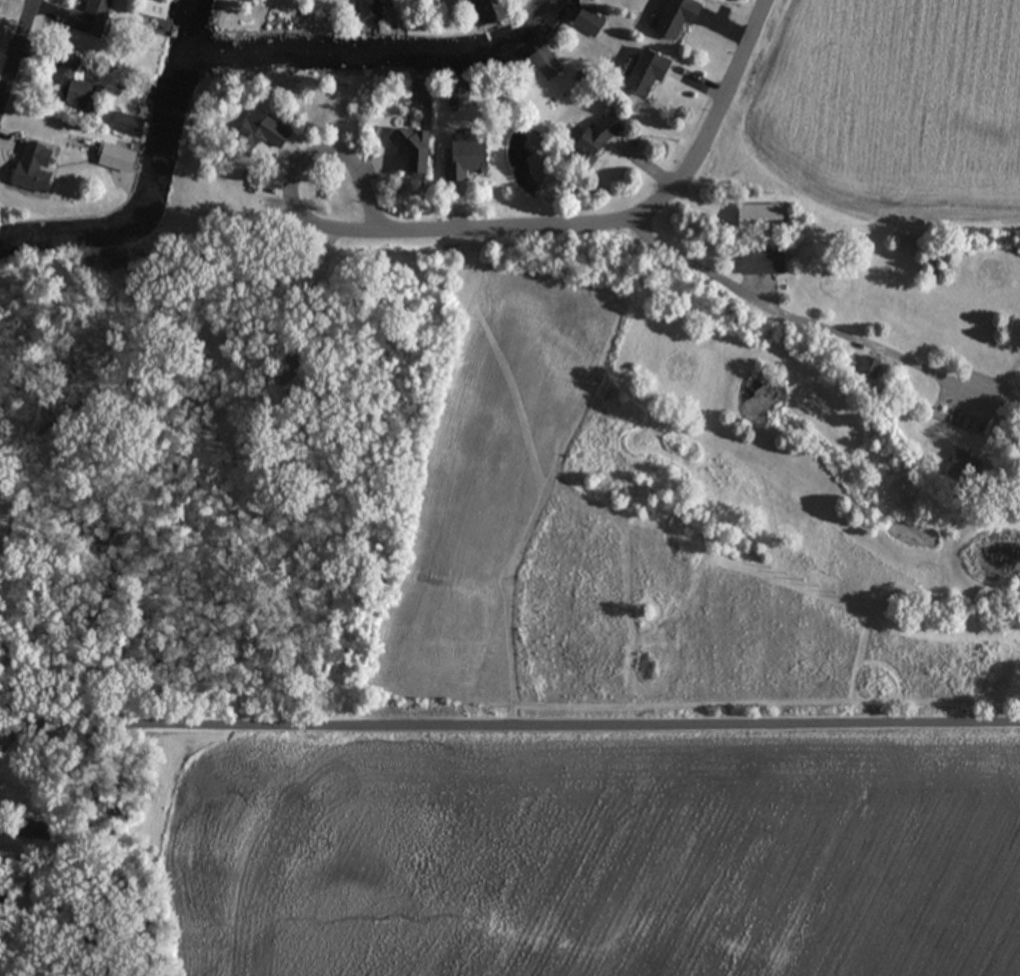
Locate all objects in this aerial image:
building: (366, 11)
building: (477, 12)
building: (671, 18)
building: (87, 19)
building: (586, 23)
road: (19, 59)
building: (543, 64)
building: (640, 73)
building: (66, 85)
road: (717, 123)
building: (125, 125)
building: (255, 134)
building: (589, 140)
building: (408, 151)
building: (461, 158)
building: (114, 160)
building: (30, 169)
building: (758, 218)
road: (374, 224)
building: (106, 262)
building: (760, 263)
road: (780, 314)
building: (868, 368)
road: (505, 738)

